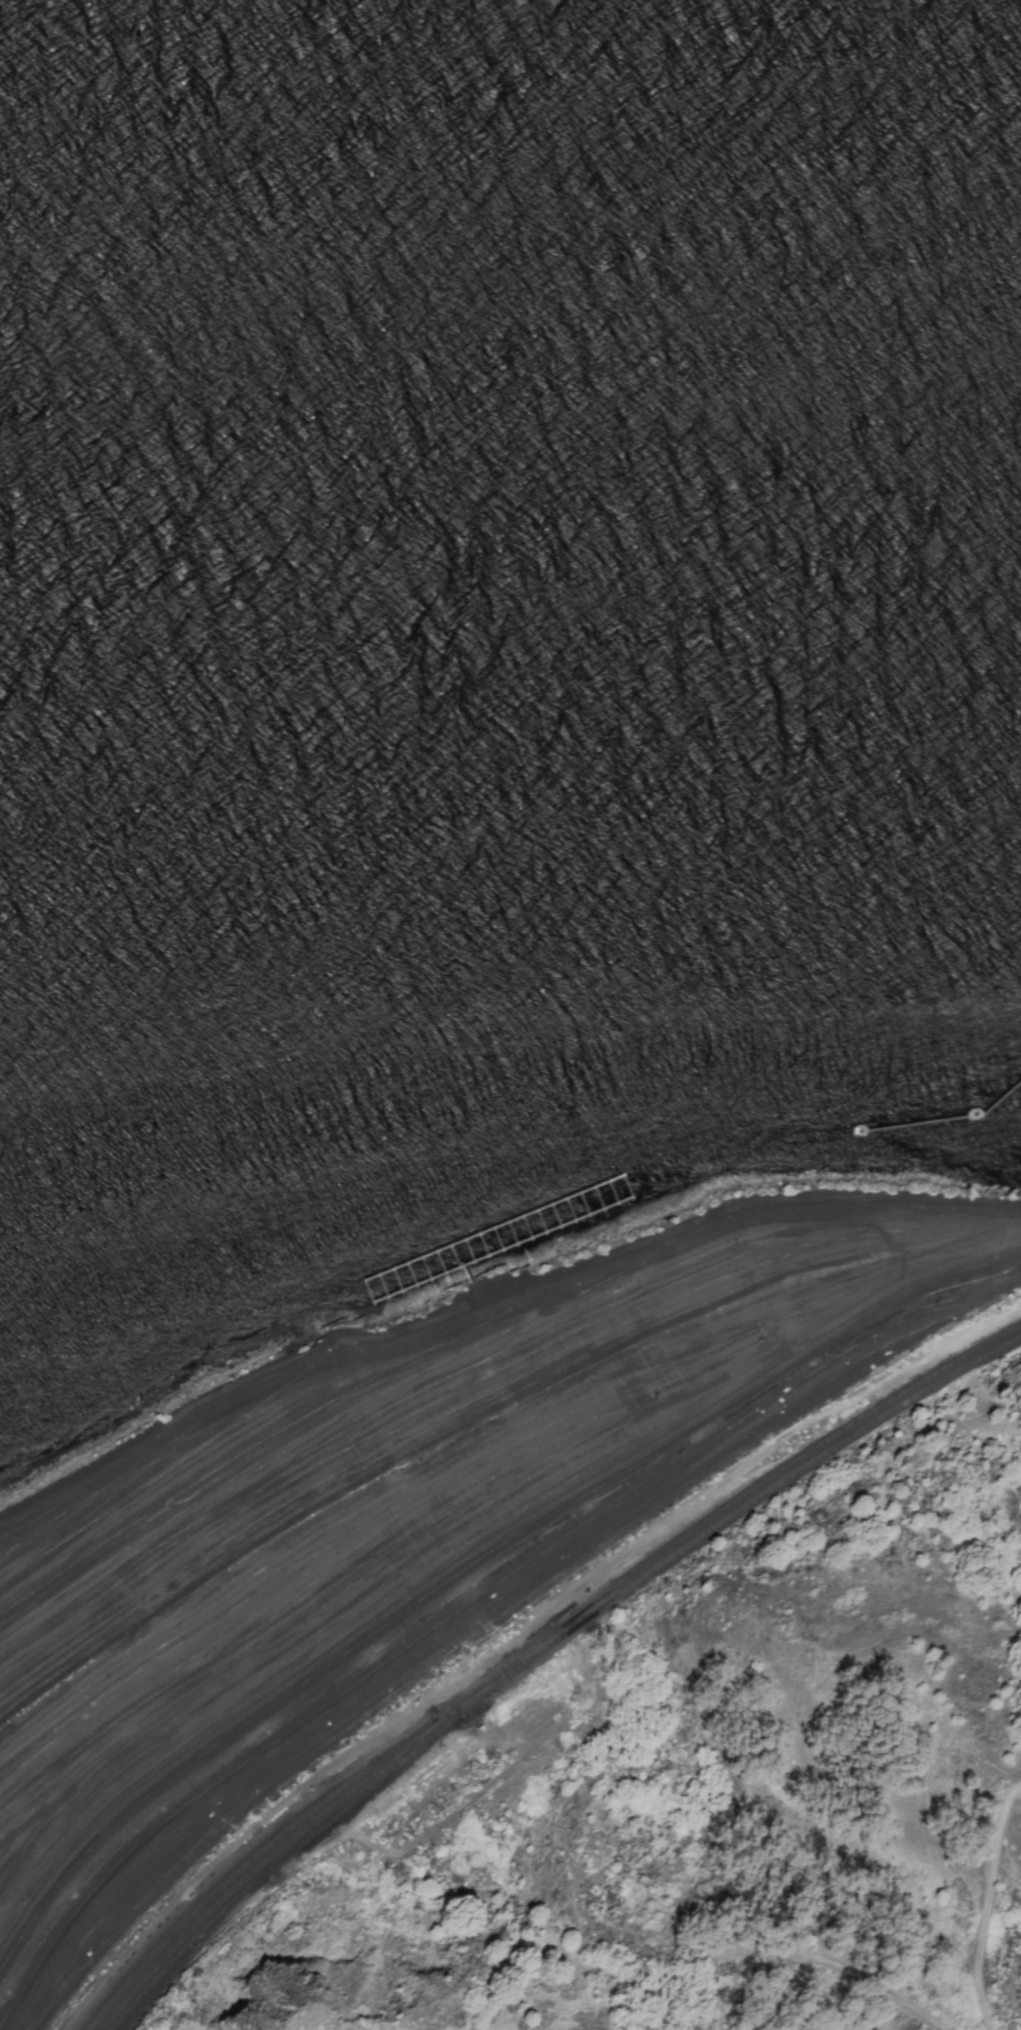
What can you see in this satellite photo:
pier: (498, 1236)
pier: (464, 1273)
railway: (535, 1650)
railway: (540, 1658)
railway: (272, 1833)
railway: (279, 1866)
road: (723, 1894)
road: (992, 1907)

